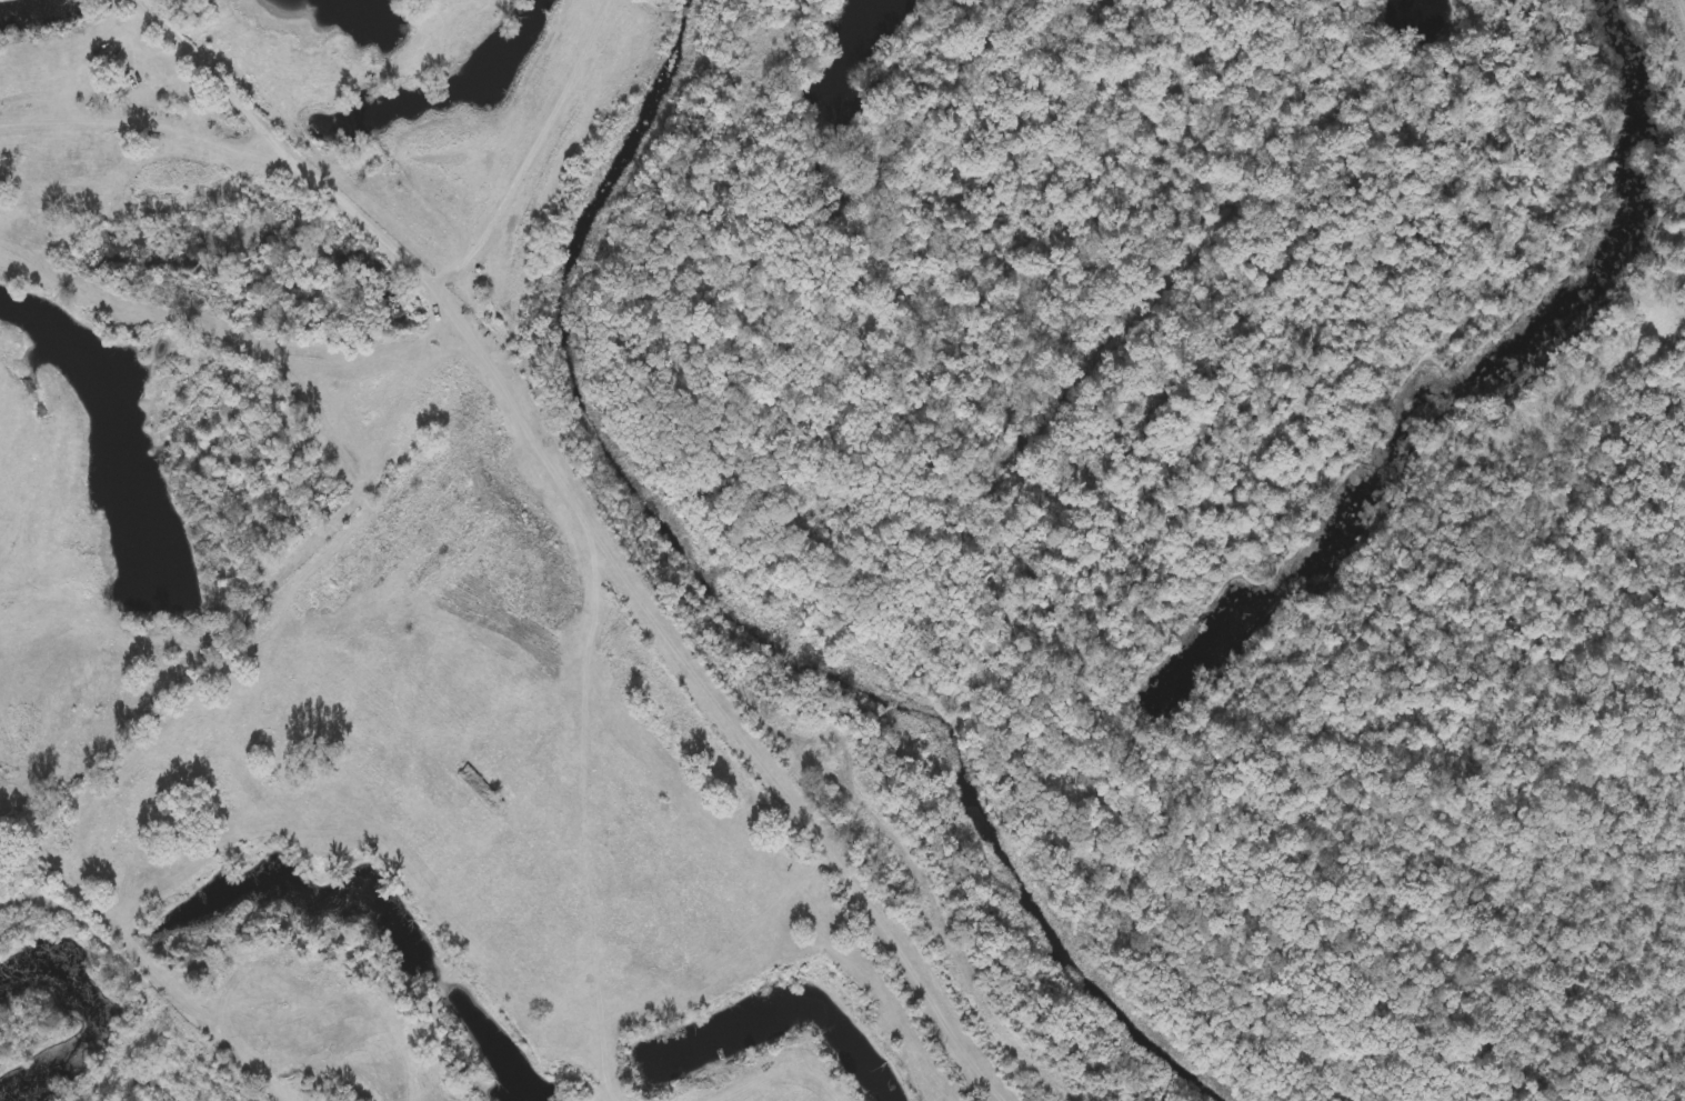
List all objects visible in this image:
road: (1678, 13)
road: (194, 62)
road: (529, 163)
road: (532, 503)
road: (131, 1050)

